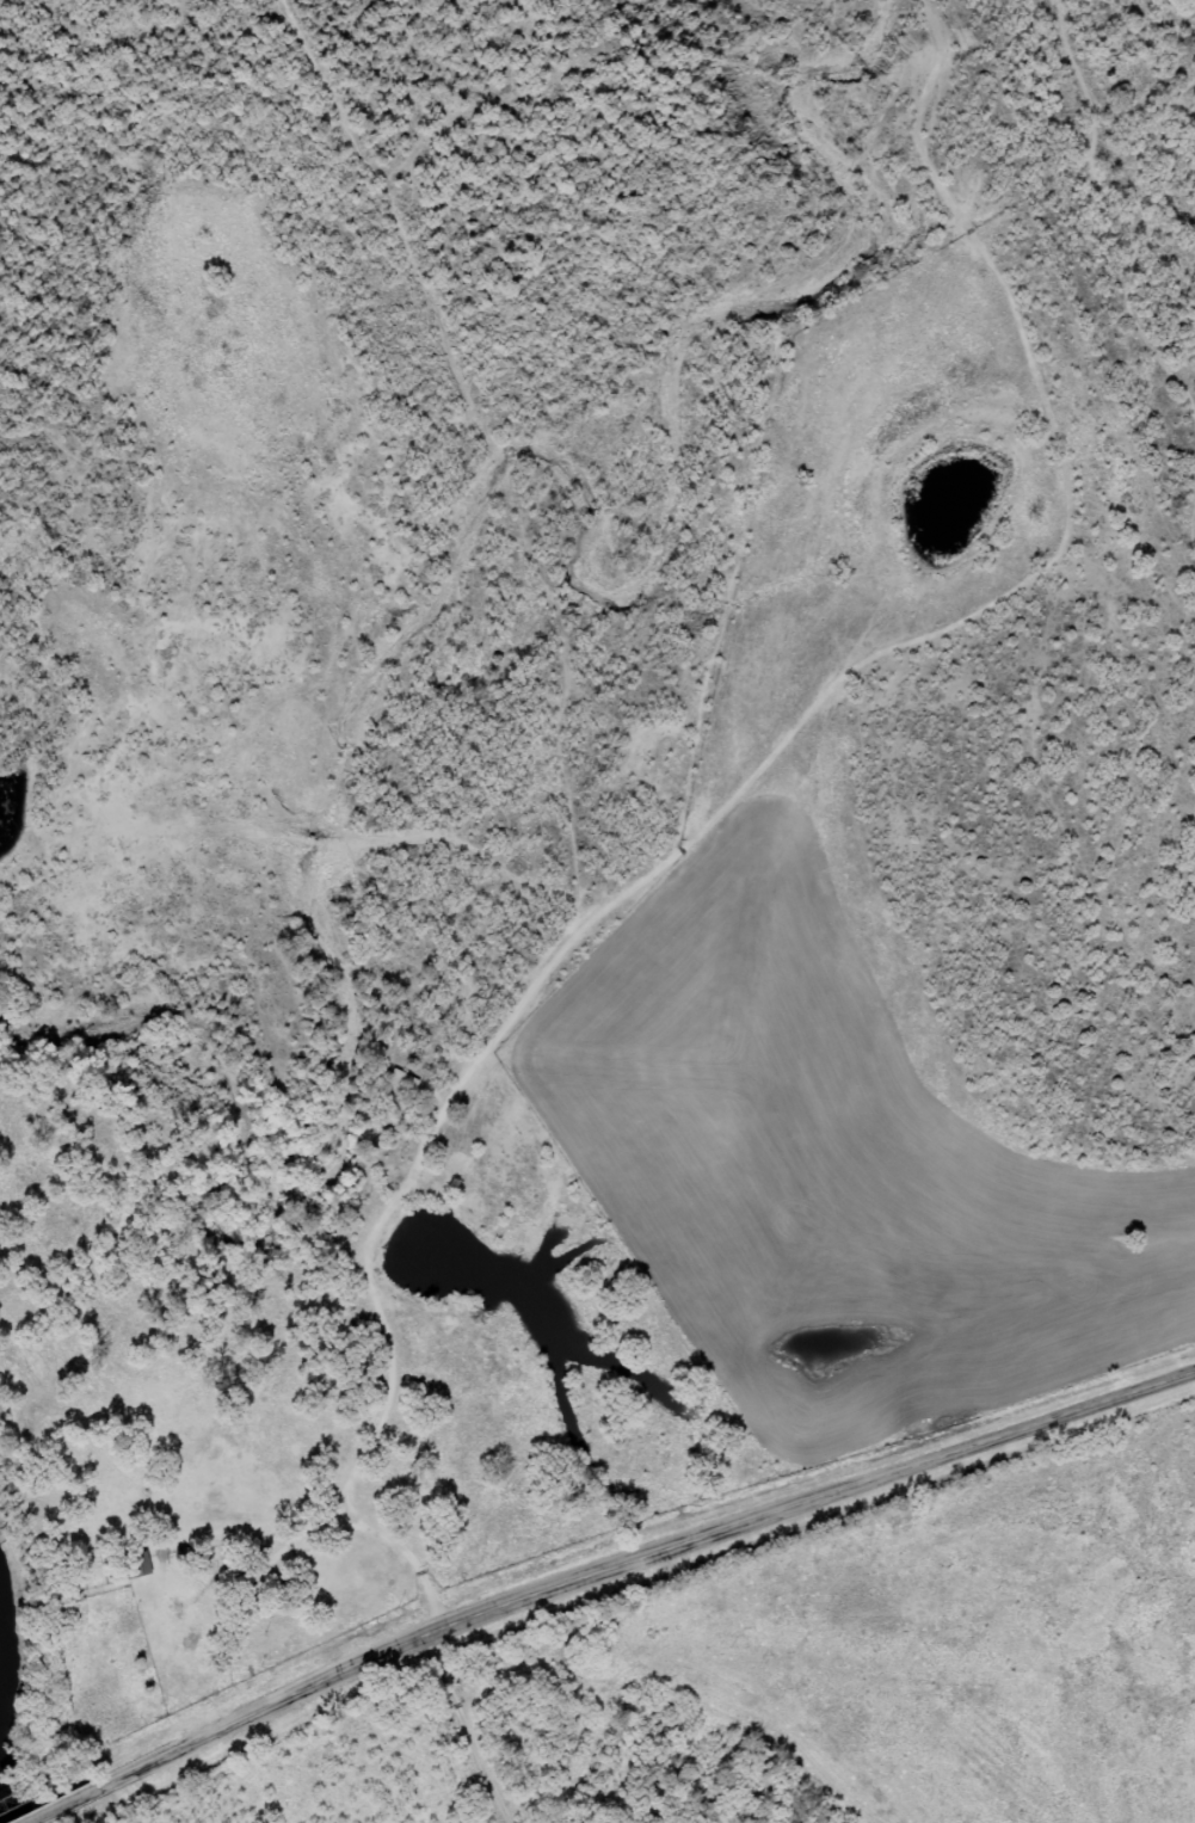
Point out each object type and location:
road: (620, 1563)
road: (359, 1751)
railway: (19, 1791)
road: (42, 1811)
river: (0, 1819)

